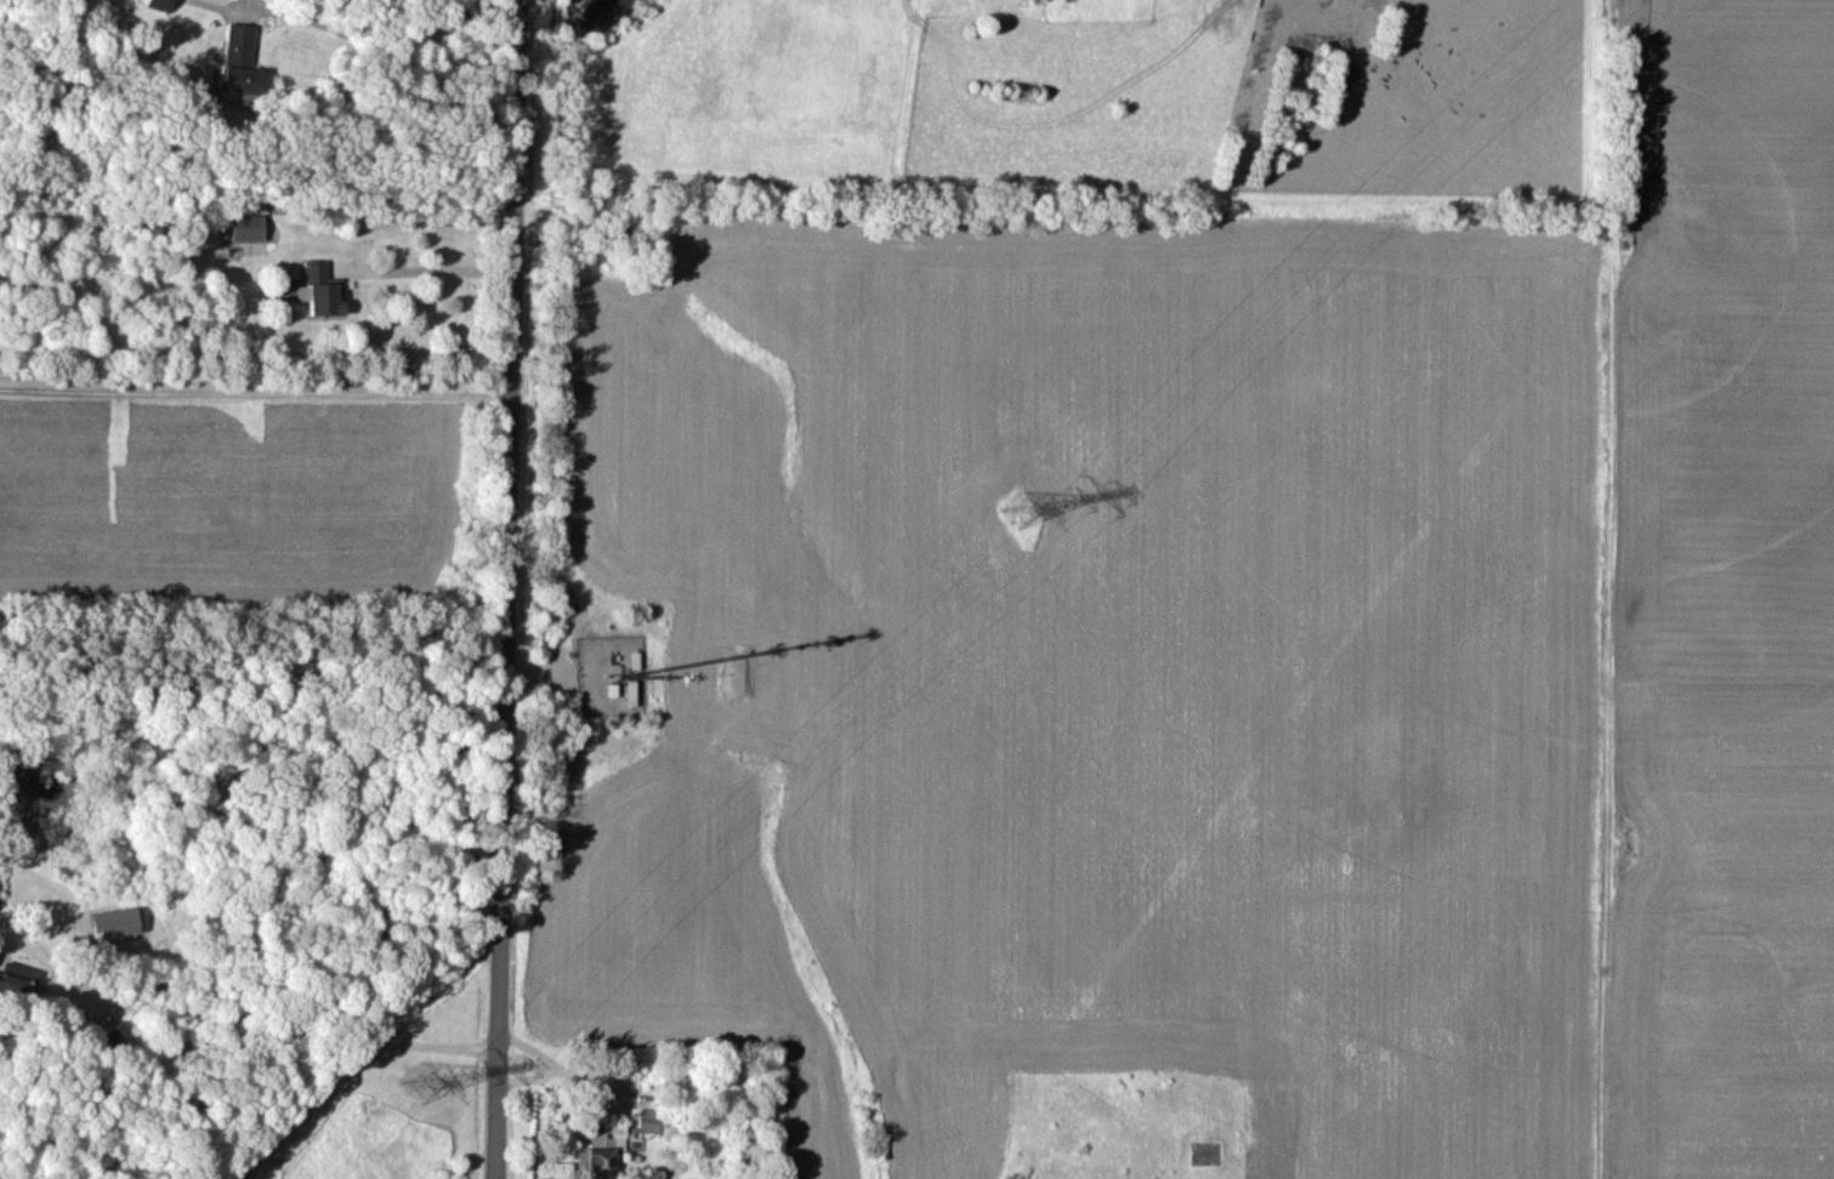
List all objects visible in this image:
road: (368, 38)
building: (240, 61)
building: (248, 227)
road: (452, 270)
building: (324, 287)
road: (256, 394)
power tower: (1022, 509)
road: (510, 589)
road: (244, 1027)
power tower: (421, 1080)
building: (604, 1147)

